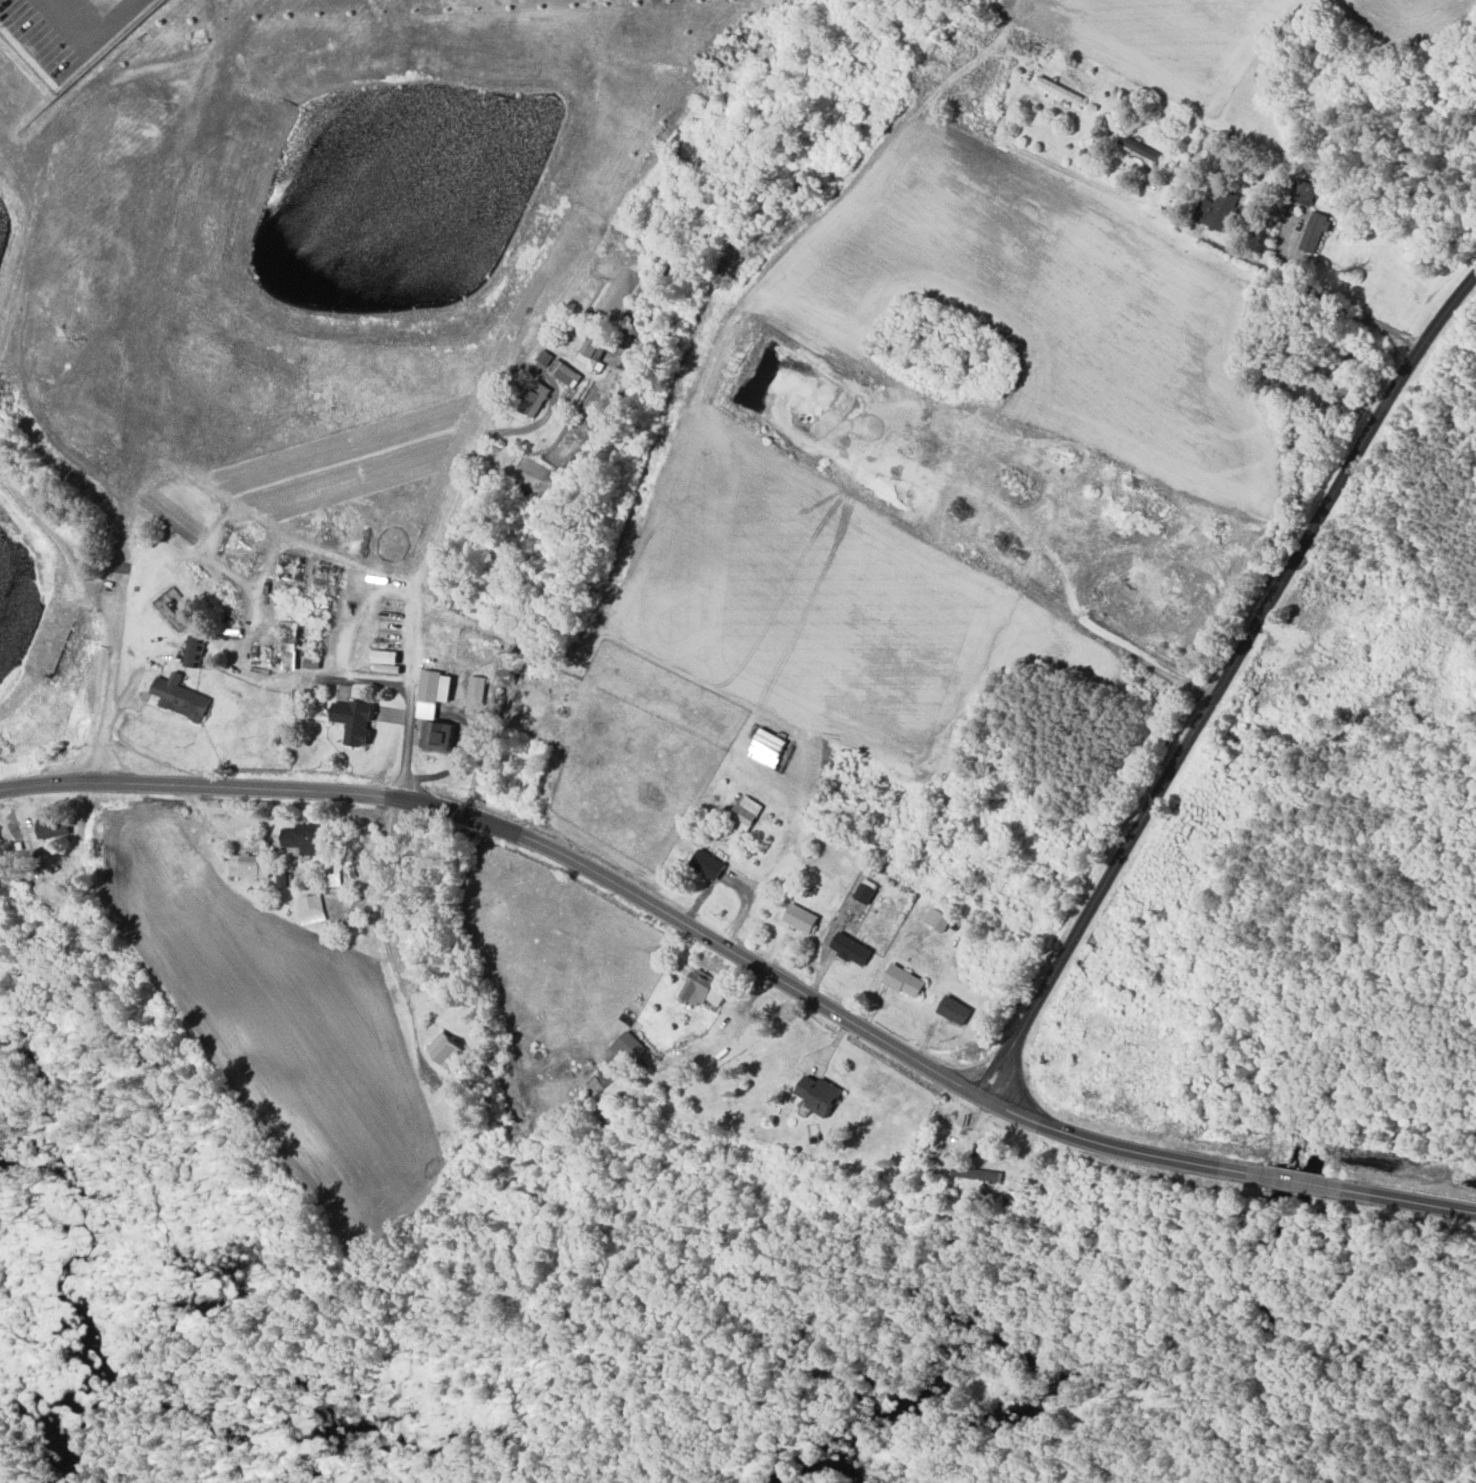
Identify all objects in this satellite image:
road: (98, 34)
road: (182, 59)
building: (1303, 192)
building: (1219, 210)
building: (1314, 232)
building: (591, 353)
road: (533, 354)
building: (563, 374)
building: (535, 400)
road: (680, 400)
road: (131, 535)
road: (1248, 573)
road: (341, 574)
building: (289, 643)
building: (194, 650)
road: (300, 680)
building: (427, 686)
road: (1225, 686)
building: (474, 694)
building: (180, 697)
building: (355, 720)
building: (437, 735)
building: (51, 826)
road: (800, 834)
building: (302, 840)
building: (707, 864)
building: (249, 865)
building: (865, 890)
building: (310, 909)
building: (800, 918)
building: (937, 919)
building: (850, 948)
road: (744, 960)
building: (904, 981)
building: (703, 989)
building: (954, 1010)
building: (627, 1048)
building: (448, 1051)
building: (817, 1094)

